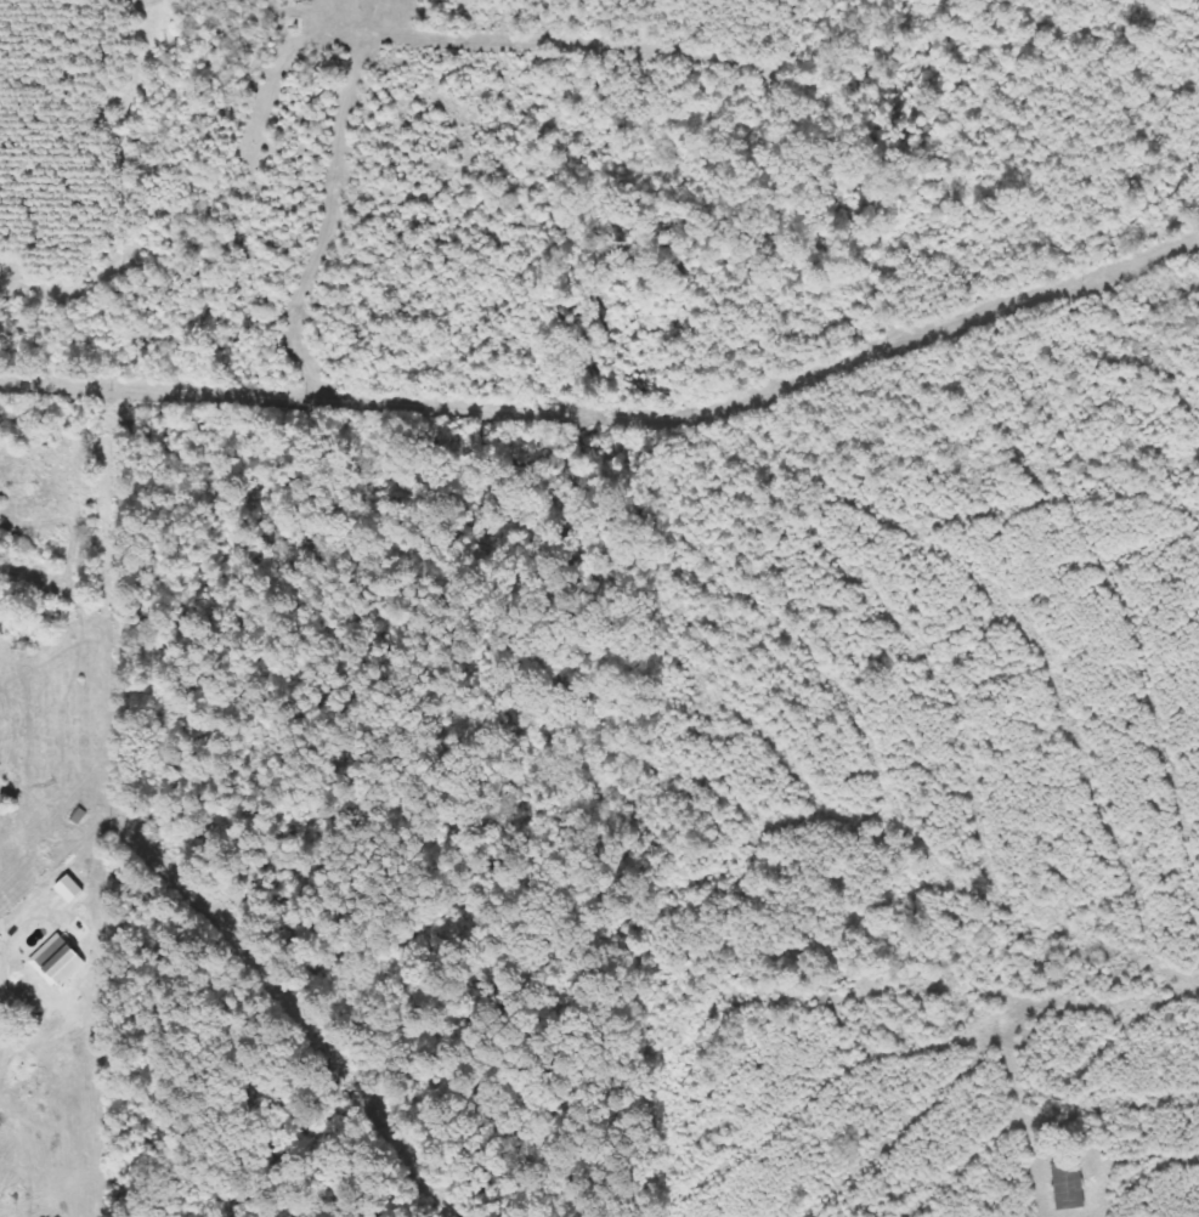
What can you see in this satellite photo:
building: (60, 961)
building: (1070, 1185)

